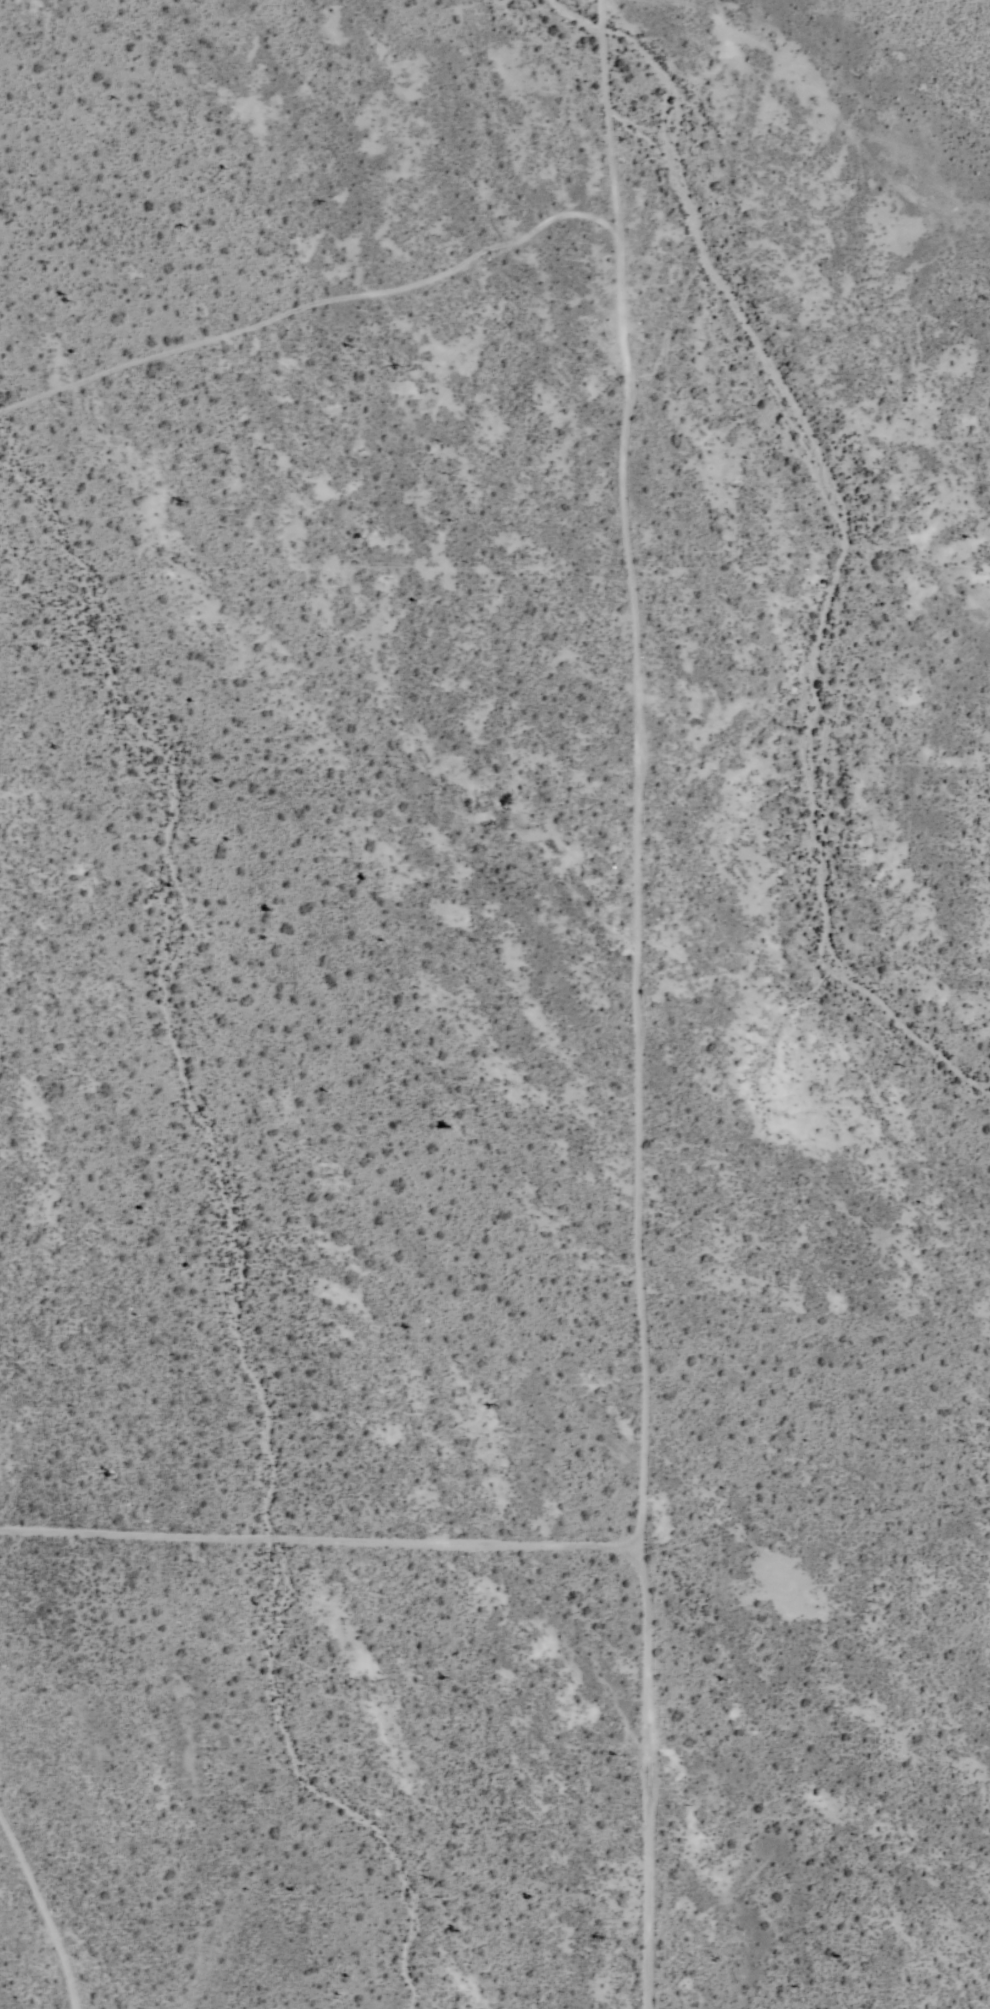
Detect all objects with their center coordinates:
road: (666, 1415)

